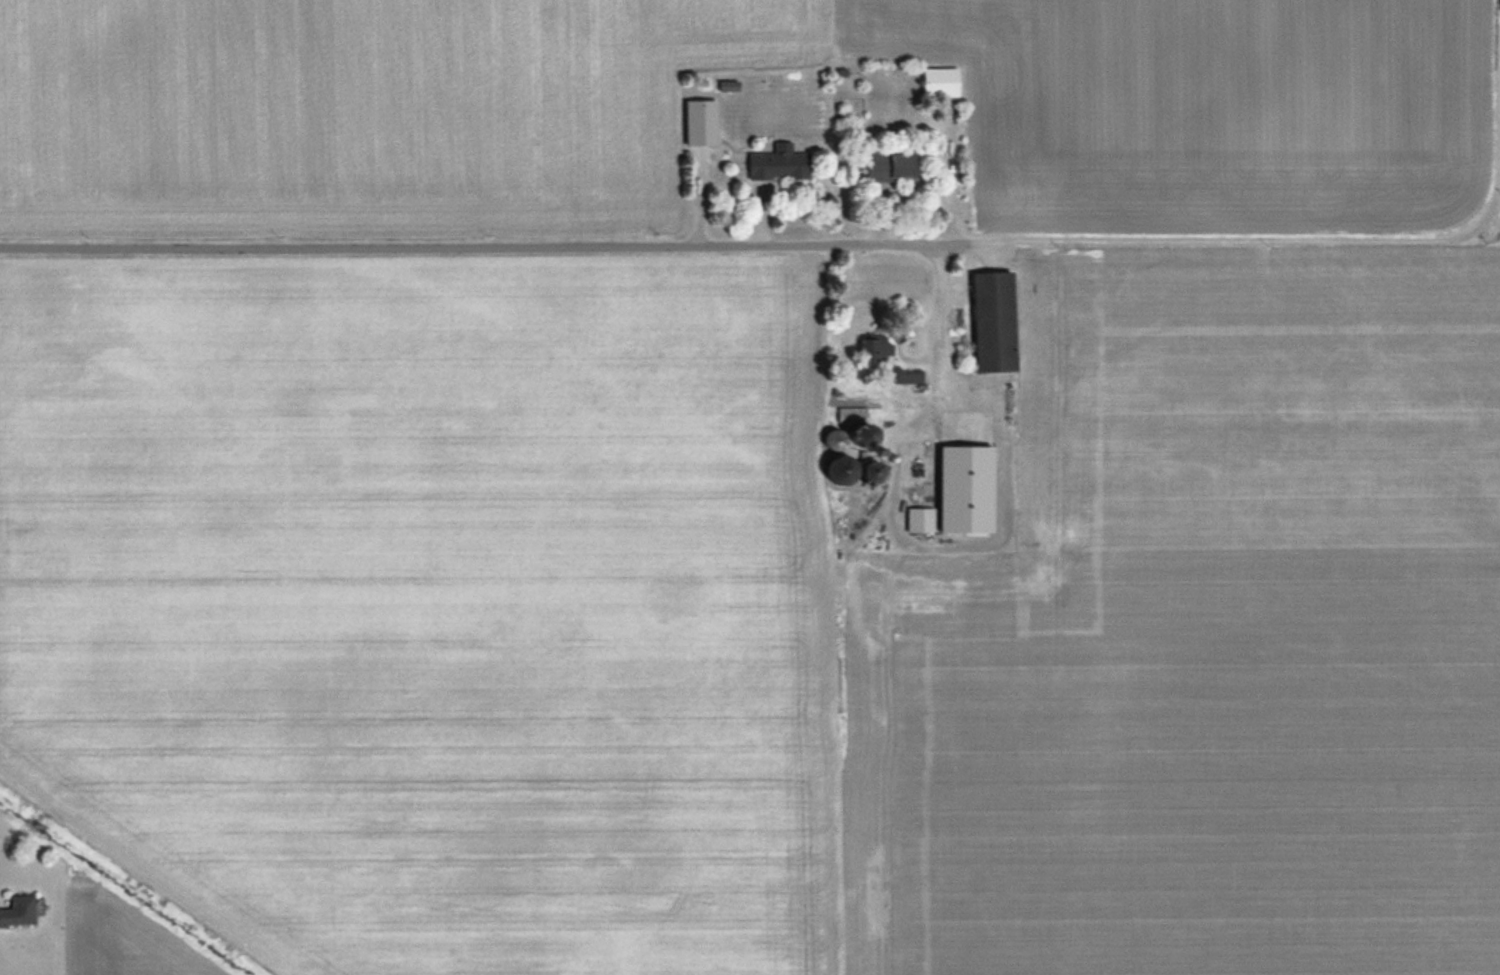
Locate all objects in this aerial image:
building: (940, 81)
building: (728, 86)
building: (700, 122)
building: (779, 163)
building: (890, 164)
road: (766, 249)
building: (994, 320)
building: (875, 346)
building: (909, 374)
building: (851, 413)
building: (836, 437)
building: (956, 439)
building: (924, 447)
building: (853, 466)
building: (920, 494)
building: (18, 910)

